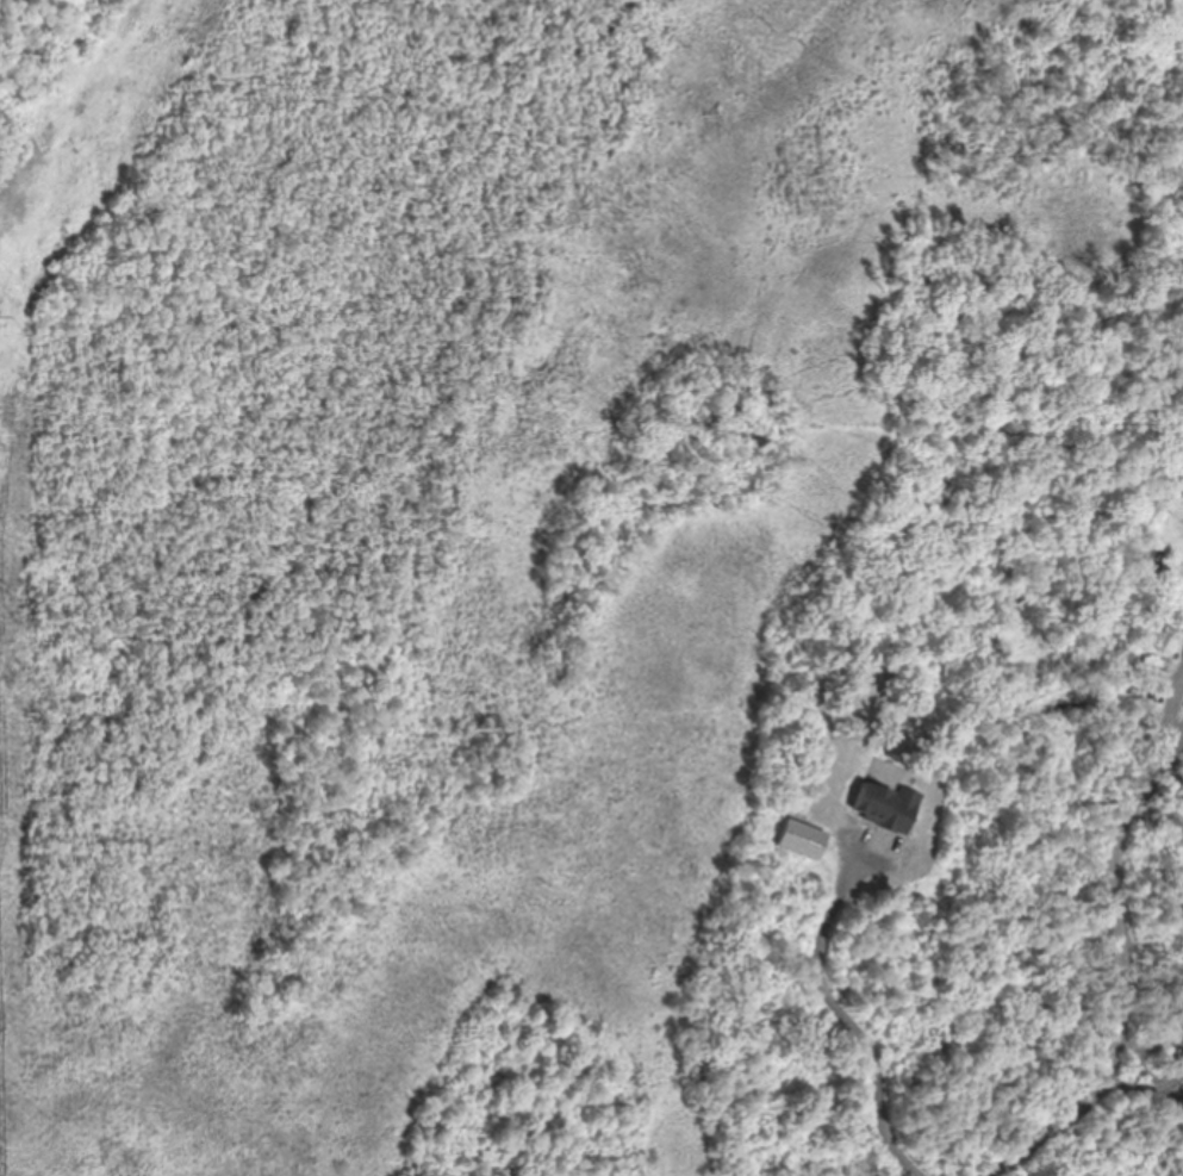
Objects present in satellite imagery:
building: (888, 809)

